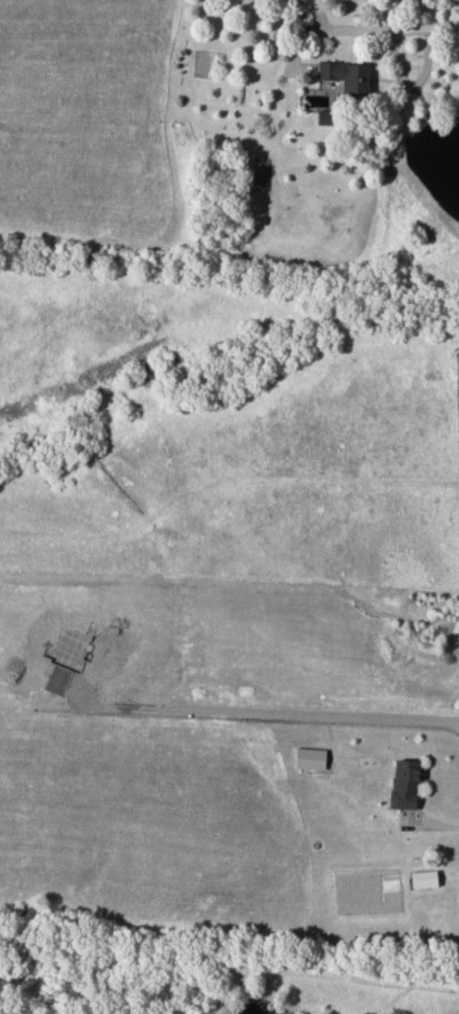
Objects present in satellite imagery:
road: (362, 28)
building: (347, 77)
building: (326, 117)
road: (266, 714)
building: (309, 759)
building: (405, 784)
road: (435, 820)
building: (423, 879)

